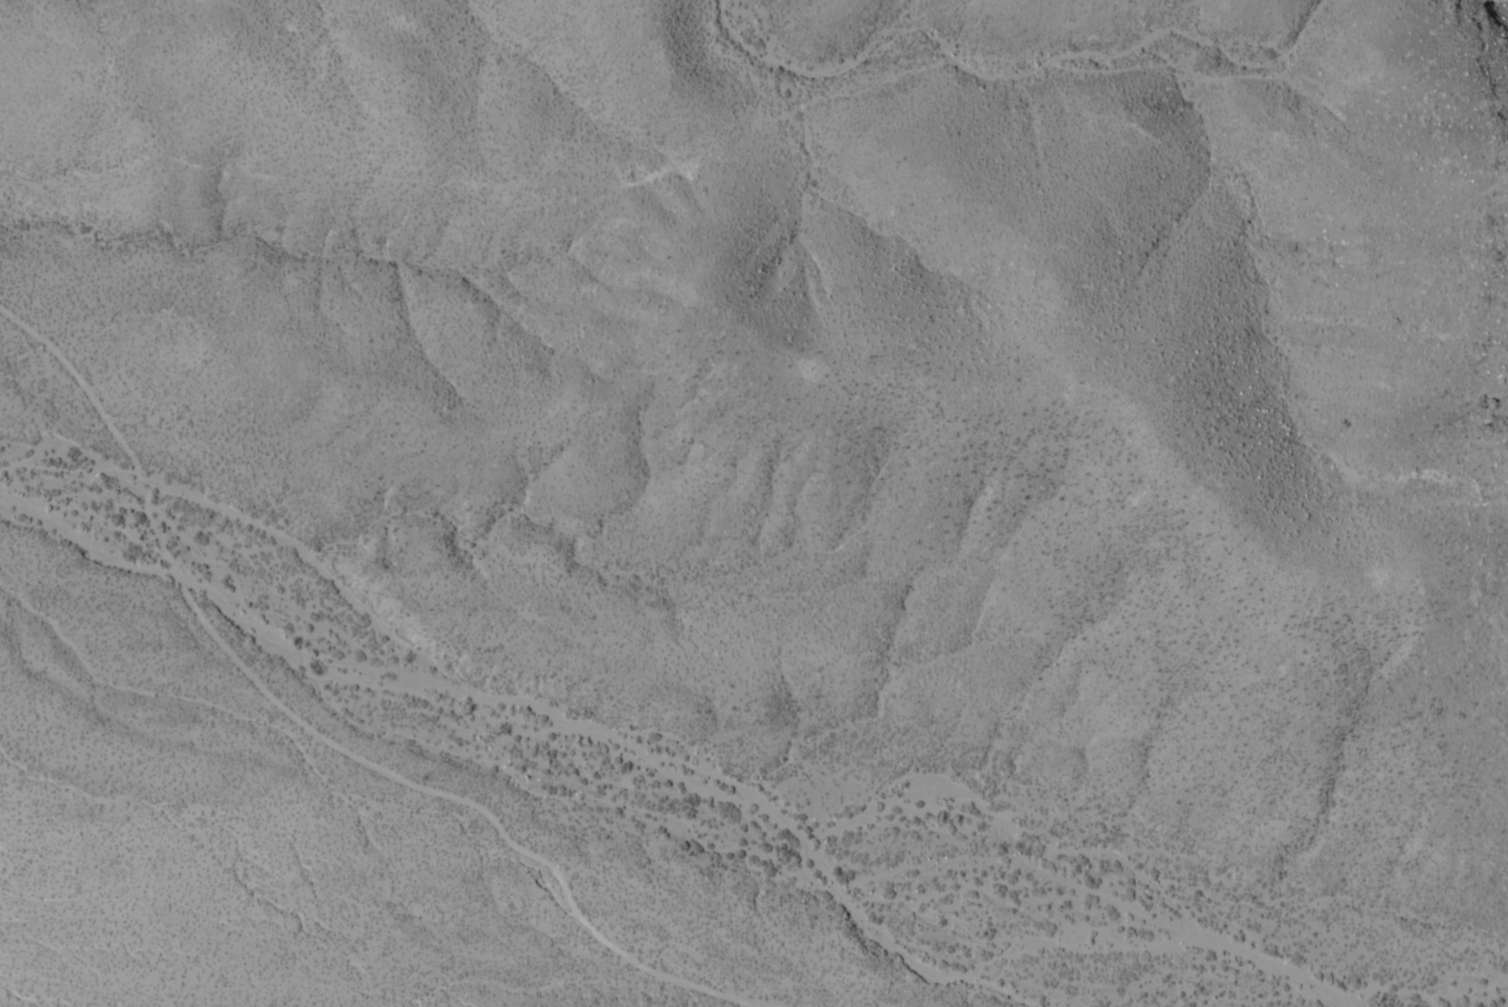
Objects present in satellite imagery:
road: (317, 732)

